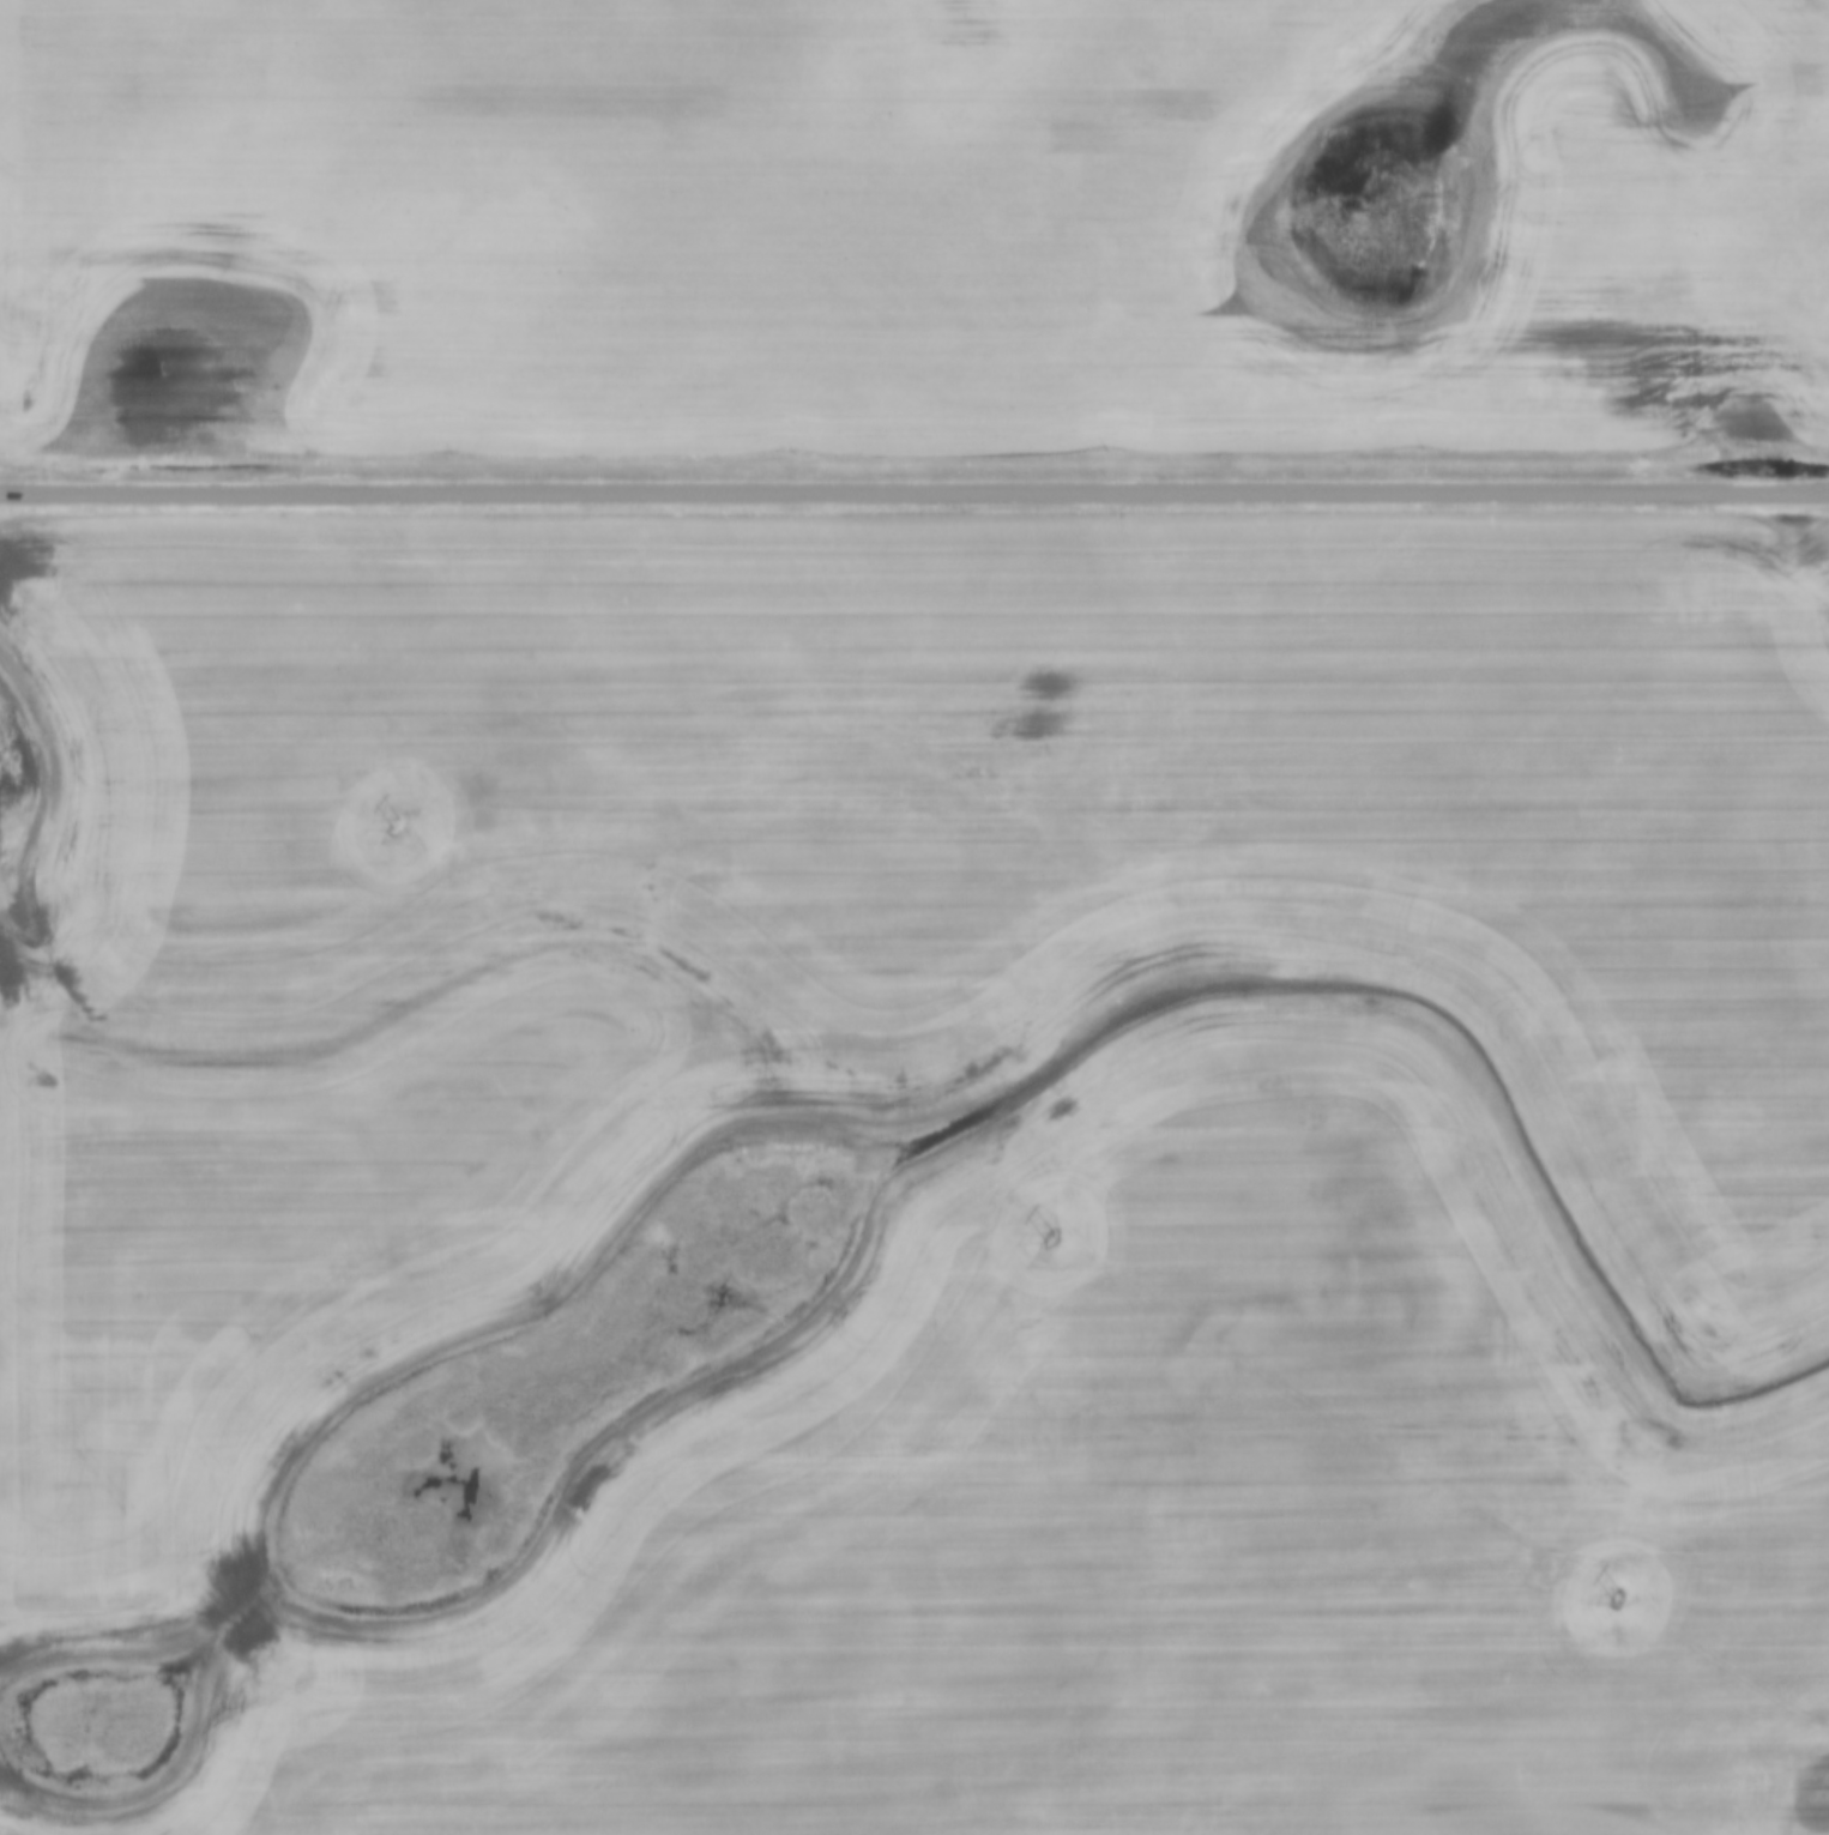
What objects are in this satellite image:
road: (913, 488)

